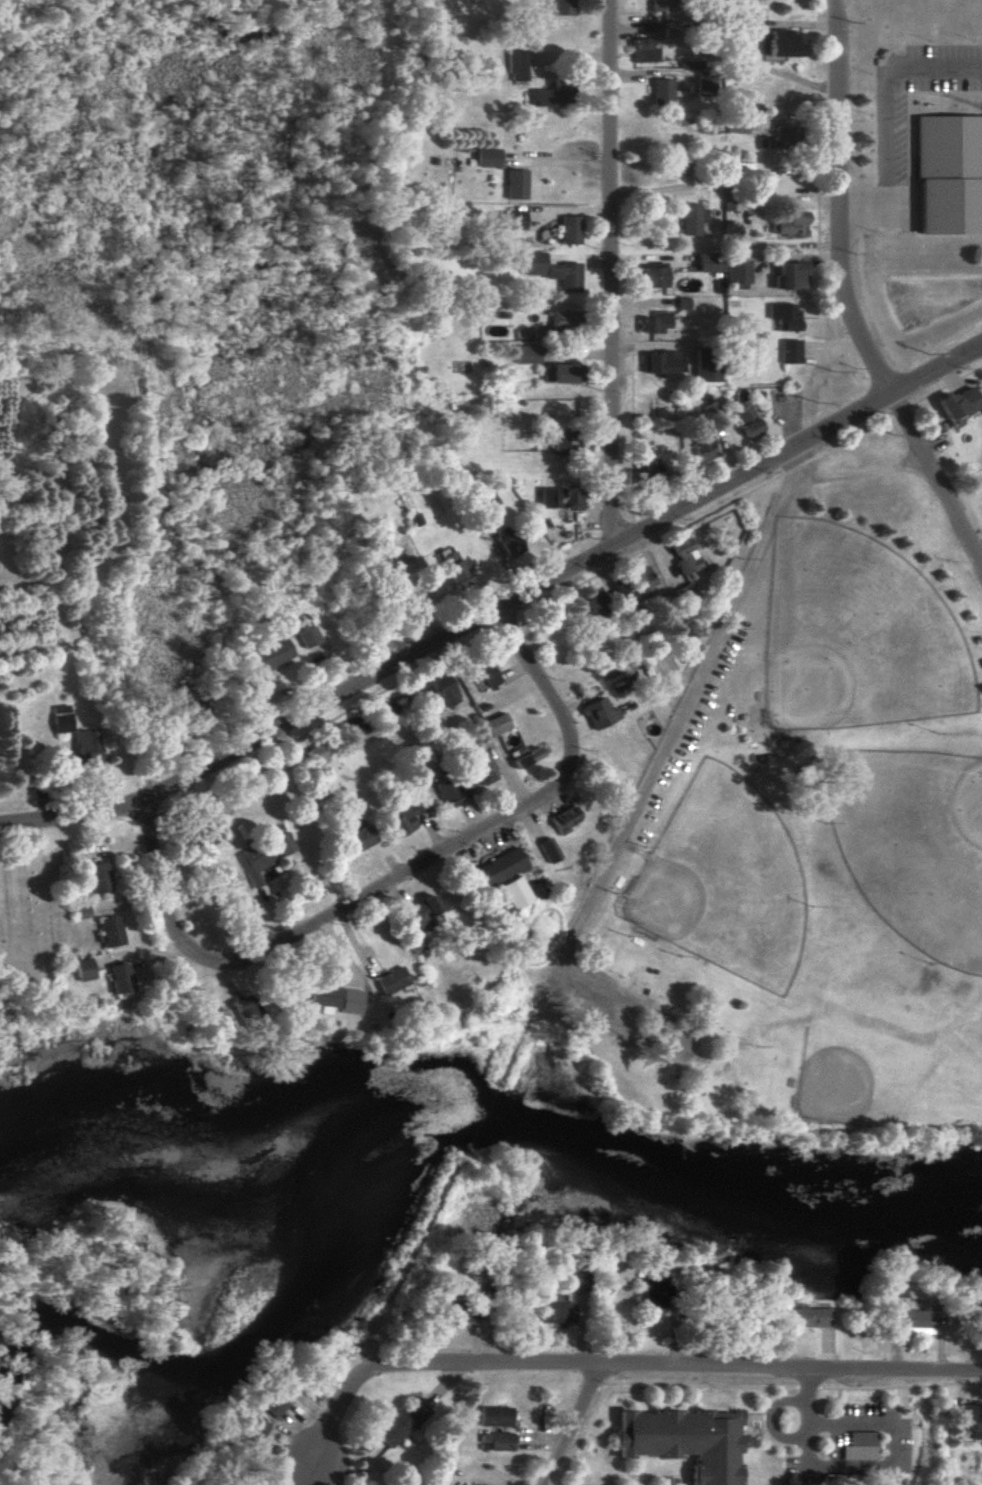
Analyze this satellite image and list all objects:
building: (660, 5)
building: (563, 7)
building: (785, 43)
building: (645, 50)
building: (516, 65)
road: (932, 71)
building: (704, 83)
building: (662, 89)
building: (547, 95)
road: (907, 102)
building: (779, 137)
road: (882, 138)
road: (564, 150)
building: (487, 157)
building: (678, 168)
building: (949, 174)
building: (516, 184)
road: (908, 195)
road: (837, 200)
road: (877, 205)
road: (950, 205)
building: (691, 219)
building: (509, 220)
road: (860, 221)
building: (791, 225)
building: (570, 230)
building: (708, 262)
building: (552, 270)
road: (616, 273)
building: (651, 276)
building: (788, 276)
road: (819, 282)
building: (783, 316)
building: (560, 319)
building: (654, 322)
building: (540, 332)
road: (889, 347)
building: (789, 351)
building: (526, 354)
building: (659, 364)
building: (704, 364)
road: (897, 369)
building: (560, 373)
road: (881, 377)
road: (946, 385)
building: (959, 403)
road: (901, 410)
building: (746, 422)
road: (852, 437)
building: (564, 441)
road: (798, 466)
road: (934, 477)
building: (561, 496)
building: (511, 544)
parking lot: (977, 565)
building: (453, 568)
building: (625, 596)
building: (590, 607)
road: (501, 613)
building: (310, 636)
park: (854, 636)
road: (468, 644)
building: (273, 654)
building: (483, 669)
road: (546, 680)
building: (440, 690)
building: (599, 713)
building: (60, 718)
road: (680, 722)
building: (86, 747)
building: (483, 768)
building: (447, 792)
building: (564, 818)
building: (403, 819)
building: (359, 838)
park: (798, 842)
building: (284, 843)
park: (913, 843)
building: (255, 862)
building: (495, 869)
building: (99, 877)
park: (725, 883)
building: (514, 892)
building: (424, 910)
road: (328, 920)
building: (110, 931)
building: (414, 942)
building: (84, 969)
building: (120, 977)
building: (390, 980)
building: (334, 998)
building: (248, 1010)
park: (883, 1048)
river: (546, 1142)
building: (894, 1288)
building: (653, 1289)
building: (456, 1313)
building: (553, 1313)
building: (806, 1316)
building: (918, 1318)
road: (622, 1364)
building: (276, 1403)
building: (493, 1416)
road: (768, 1416)
building: (971, 1419)
building: (400, 1422)
road: (575, 1424)
building: (252, 1431)
road: (891, 1433)
building: (495, 1440)
building: (683, 1440)
building: (859, 1445)
building: (476, 1484)

